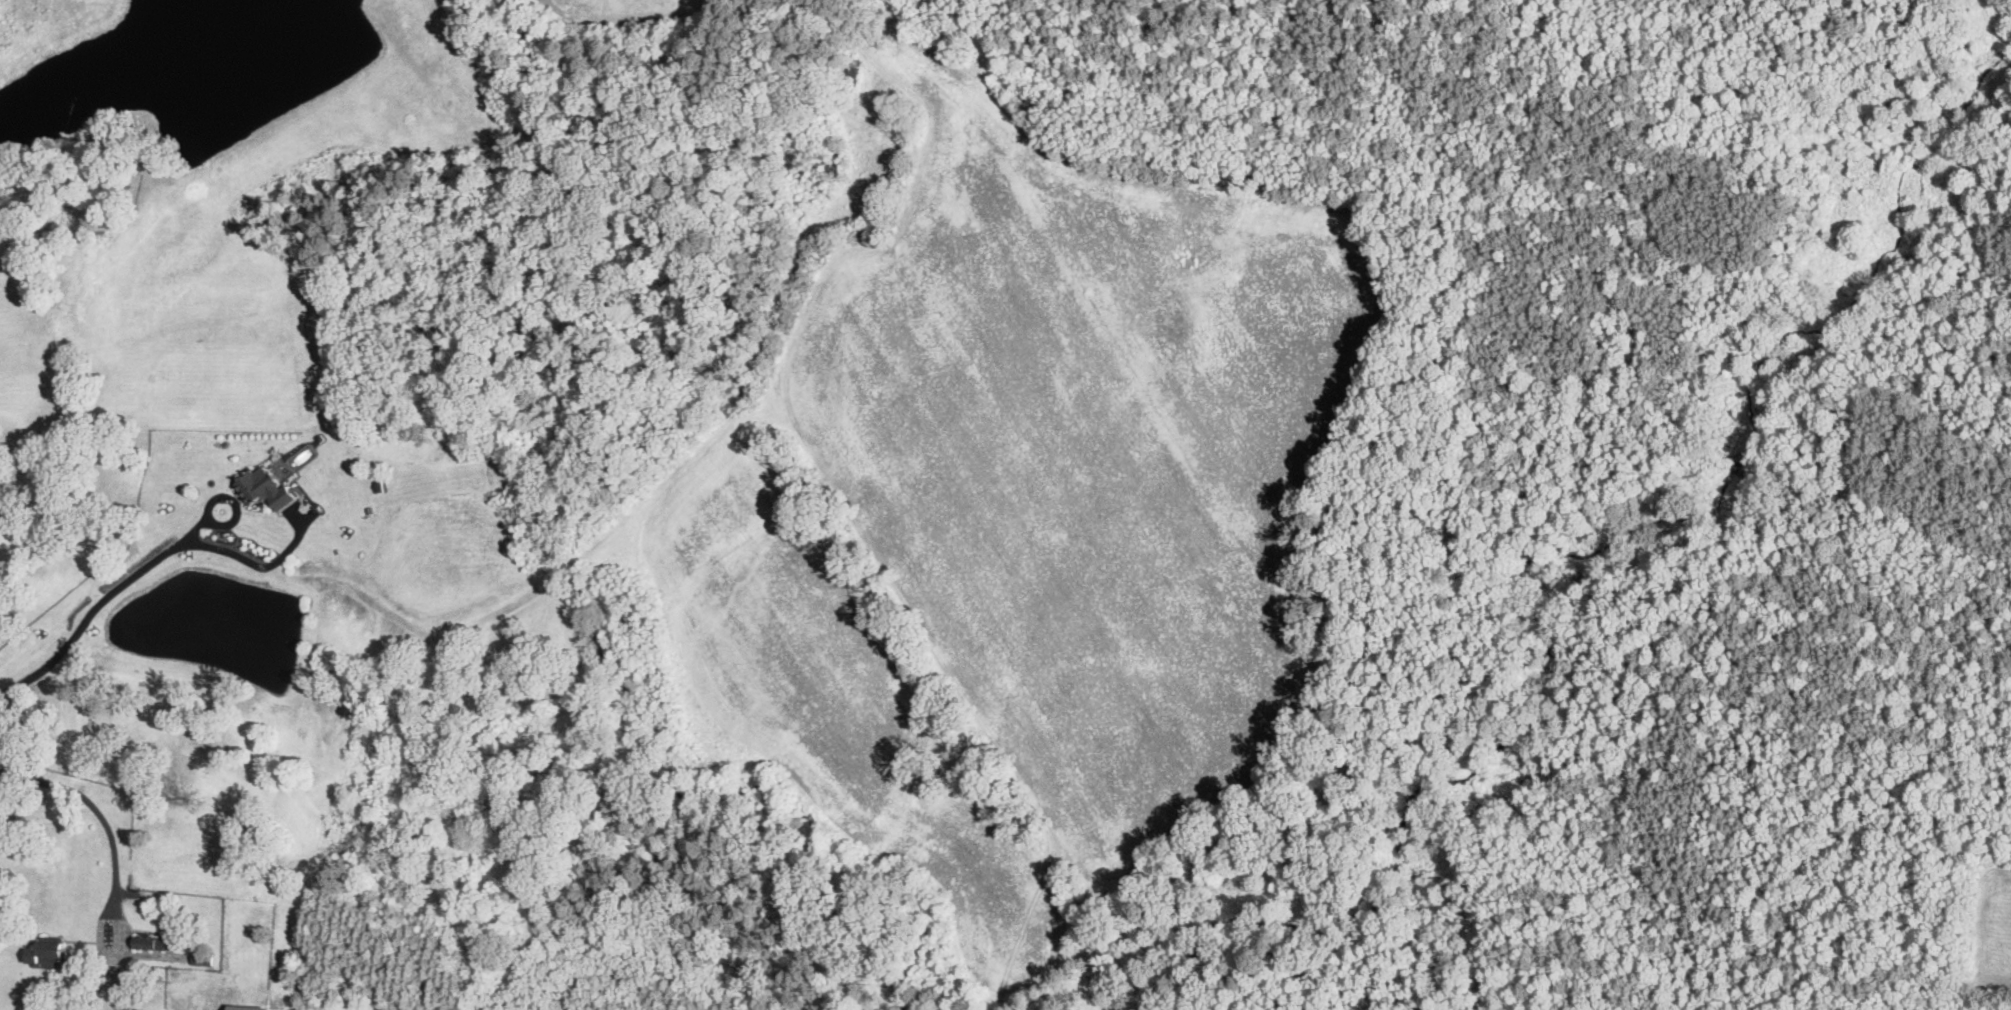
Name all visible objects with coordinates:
building: (964, 54)
road: (1681, 287)
building: (266, 489)
road: (495, 609)
road: (113, 854)
building: (155, 945)
building: (55, 957)
building: (204, 960)

